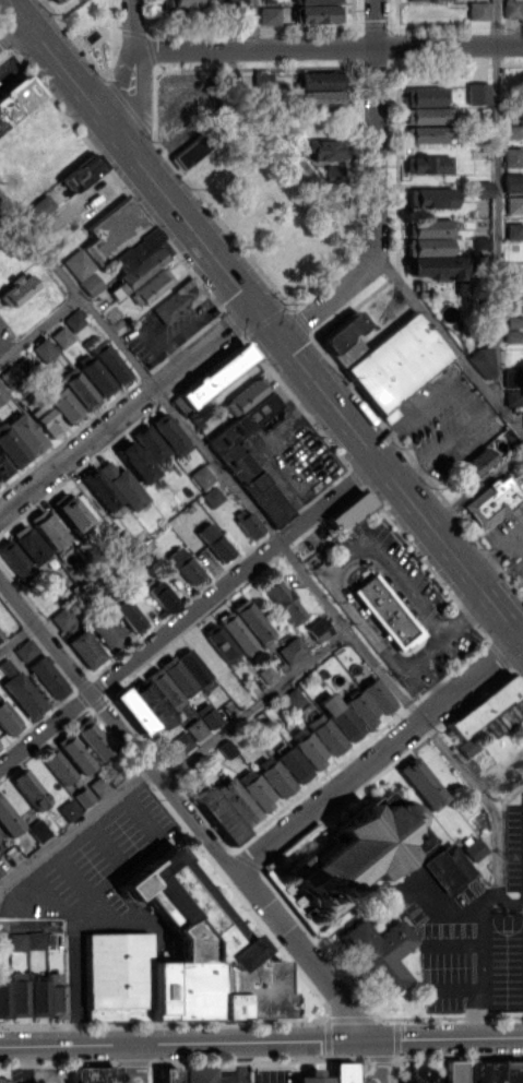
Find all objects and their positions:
building: (441, 0)
building: (57, 1)
building: (316, 1)
building: (187, 2)
building: (236, 2)
building: (511, 9)
road: (14, 10)
building: (478, 10)
building: (316, 13)
building: (269, 14)
road: (254, 24)
road: (11, 29)
road: (328, 47)
road: (132, 74)
building: (261, 79)
building: (319, 80)
building: (477, 93)
building: (424, 96)
building: (17, 98)
building: (318, 98)
building: (427, 115)
building: (511, 130)
building: (425, 133)
building: (325, 148)
building: (191, 150)
building: (512, 157)
building: (427, 164)
building: (81, 174)
building: (334, 174)
building: (513, 181)
building: (483, 188)
road: (377, 190)
building: (430, 197)
road: (498, 201)
building: (514, 204)
building: (37, 207)
building: (429, 227)
building: (514, 230)
building: (119, 235)
road: (370, 241)
building: (427, 246)
building: (78, 263)
building: (436, 266)
building: (141, 267)
building: (90, 284)
building: (150, 286)
building: (16, 290)
building: (177, 300)
building: (519, 301)
traffic signals: (253, 302)
building: (73, 320)
road: (40, 325)
road: (273, 329)
building: (61, 336)
traffic signals: (280, 336)
building: (344, 338)
building: (44, 349)
building: (107, 361)
building: (396, 362)
building: (484, 364)
building: (94, 374)
building: (214, 374)
building: (511, 377)
building: (78, 389)
building: (2, 394)
building: (243, 395)
road: (472, 397)
building: (513, 397)
building: (61, 404)
road: (126, 406)
building: (45, 419)
building: (168, 433)
building: (19, 439)
building: (150, 443)
building: (249, 460)
building: (477, 461)
building: (134, 462)
building: (3, 468)
building: (201, 476)
building: (122, 485)
building: (99, 488)
building: (211, 496)
building: (494, 499)
building: (69, 511)
building: (348, 511)
building: (248, 524)
building: (46, 528)
road: (275, 539)
building: (213, 541)
building: (29, 544)
building: (14, 559)
building: (183, 566)
road: (325, 573)
building: (162, 596)
building: (283, 600)
building: (383, 609)
road: (189, 612)
road: (463, 612)
building: (128, 614)
building: (61, 618)
building: (251, 620)
building: (318, 629)
building: (106, 631)
building: (236, 632)
road: (17, 636)
building: (218, 642)
building: (85, 648)
building: (292, 648)
building: (25, 650)
building: (194, 669)
building: (266, 674)
building: (177, 676)
road: (431, 676)
building: (47, 677)
building: (164, 688)
building: (20, 690)
building: (294, 698)
building: (369, 702)
building: (151, 703)
road: (254, 705)
building: (490, 709)
building: (131, 711)
building: (207, 715)
building: (340, 716)
building: (8, 719)
building: (195, 728)
building: (325, 734)
building: (92, 738)
building: (181, 741)
building: (308, 747)
building: (73, 753)
road: (379, 753)
building: (293, 764)
building: (57, 766)
building: (273, 776)
building: (421, 783)
building: (28, 788)
building: (254, 788)
building: (83, 796)
building: (237, 800)
building: (68, 810)
road: (186, 810)
building: (217, 814)
building: (8, 820)
road: (74, 826)
building: (38, 830)
building: (474, 849)
building: (359, 852)
road: (51, 861)
building: (448, 868)
road: (512, 904)
road: (483, 935)
building: (35, 940)
building: (17, 941)
building: (378, 952)
building: (179, 959)
building: (16, 993)
building: (36, 995)
building: (55, 996)
building: (3, 999)
road: (476, 1008)
road: (261, 1039)
road: (377, 1060)
road: (243, 1061)
road: (136, 1062)
road: (25, 1063)
building: (451, 1071)
building: (497, 1071)
building: (343, 1072)
building: (93, 1074)
building: (201, 1074)
building: (419, 1074)
building: (167, 1075)
building: (312, 1076)
building: (4, 1080)

